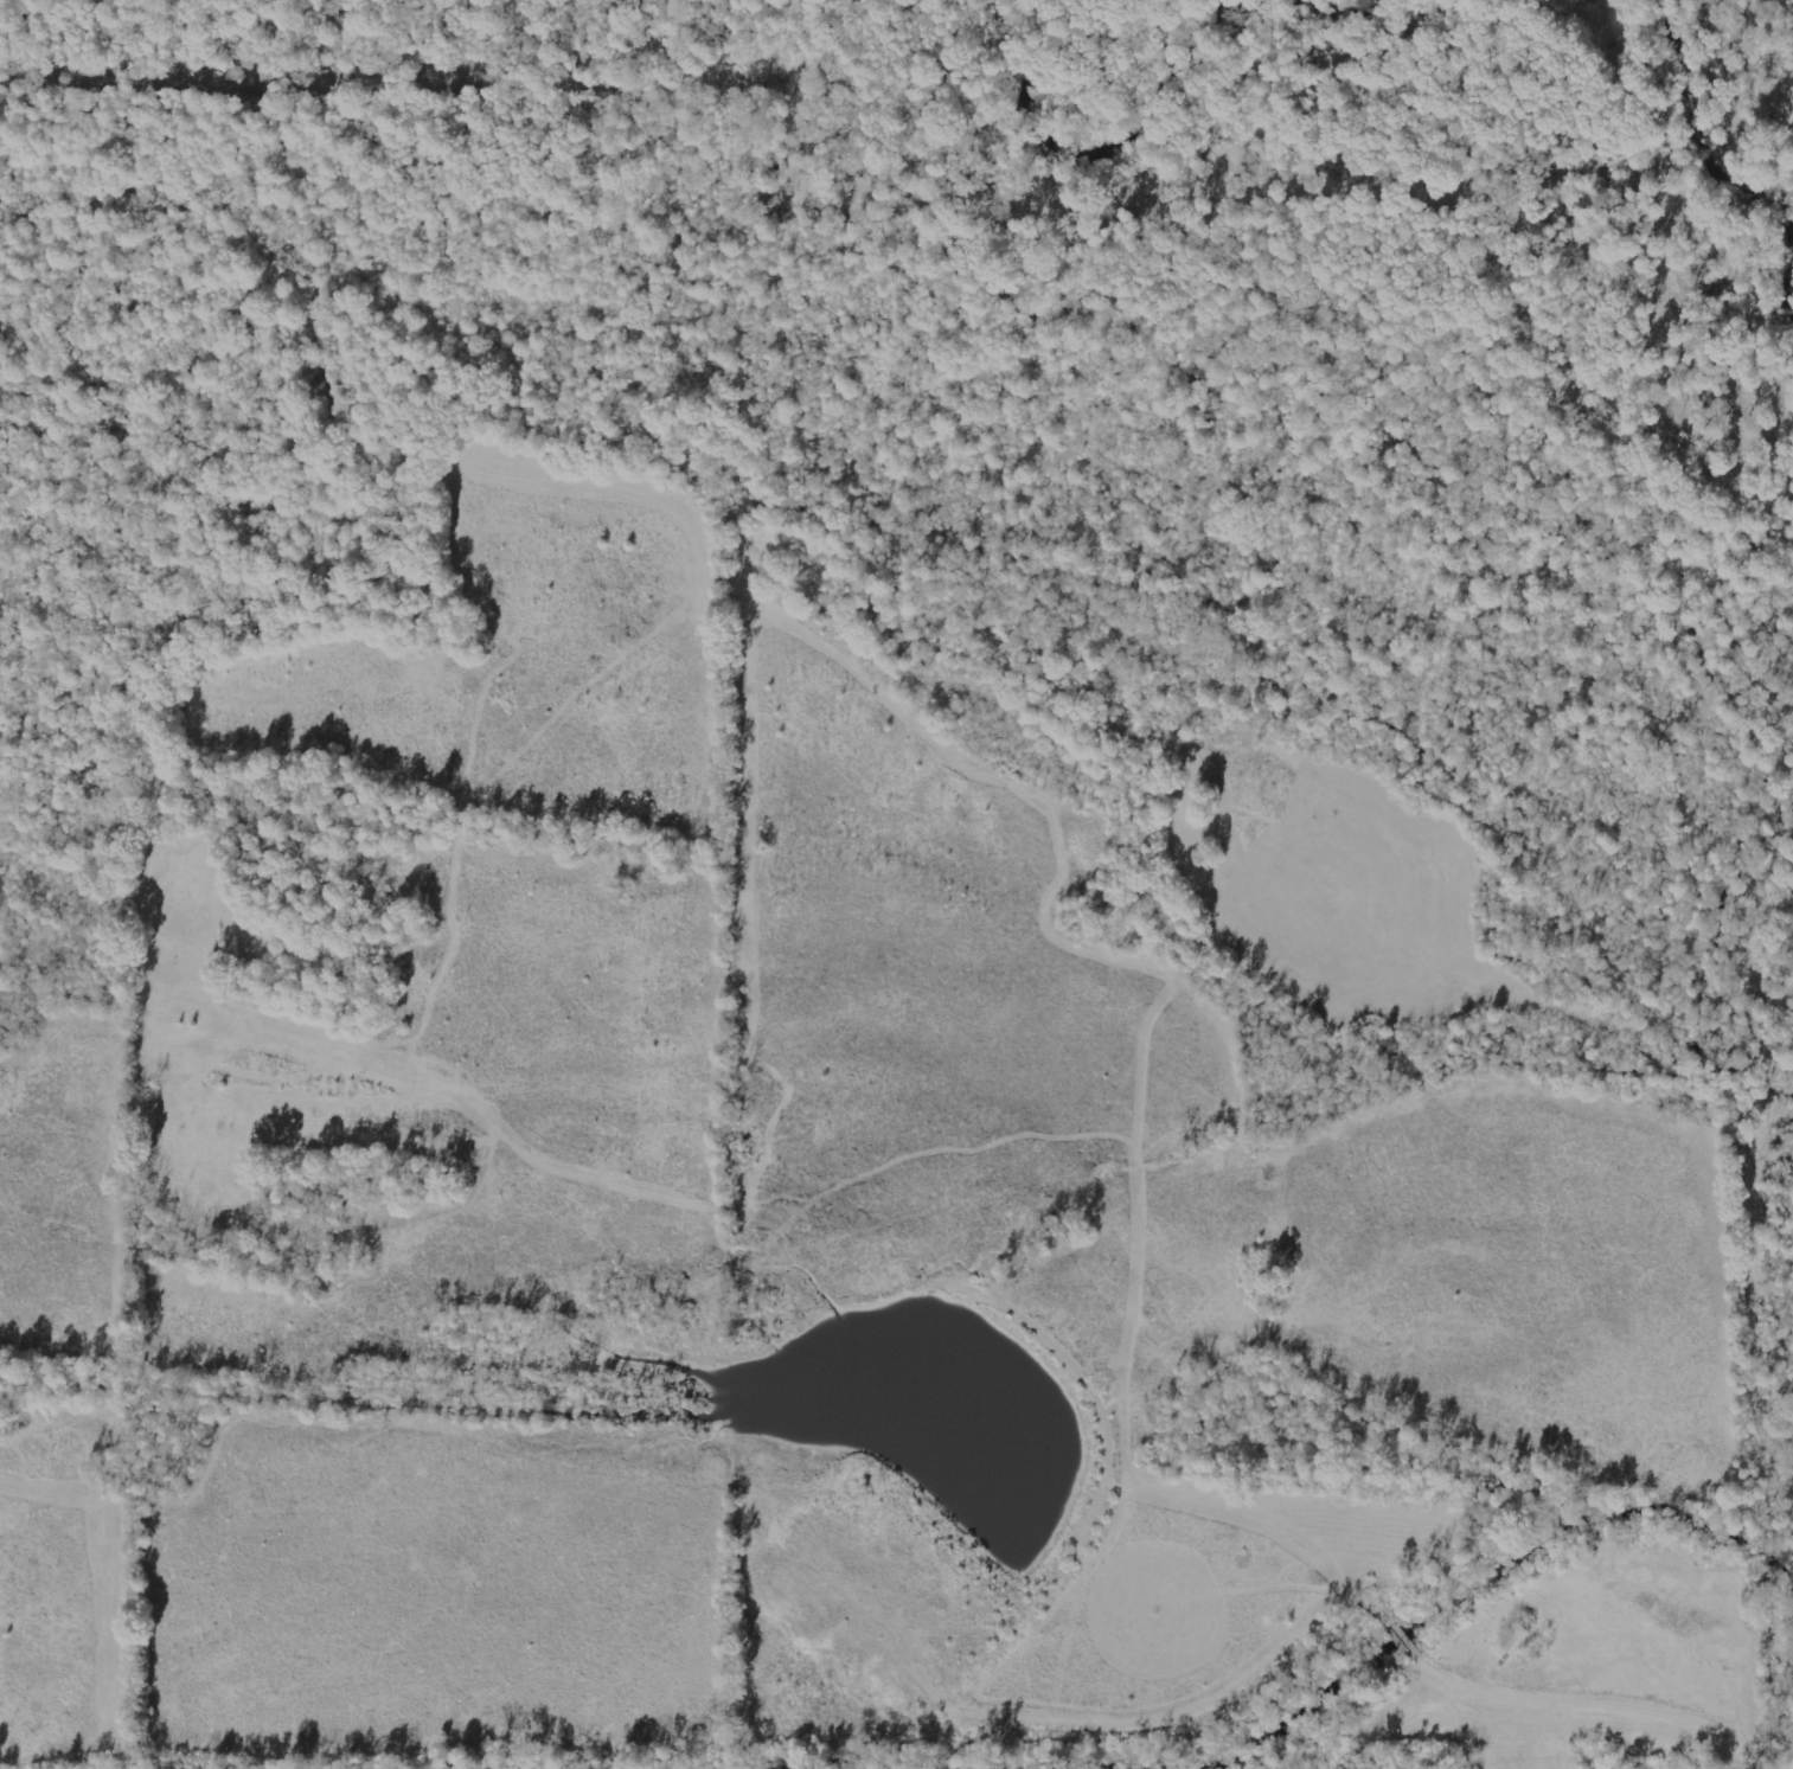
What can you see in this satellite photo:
road: (1729, 1630)

